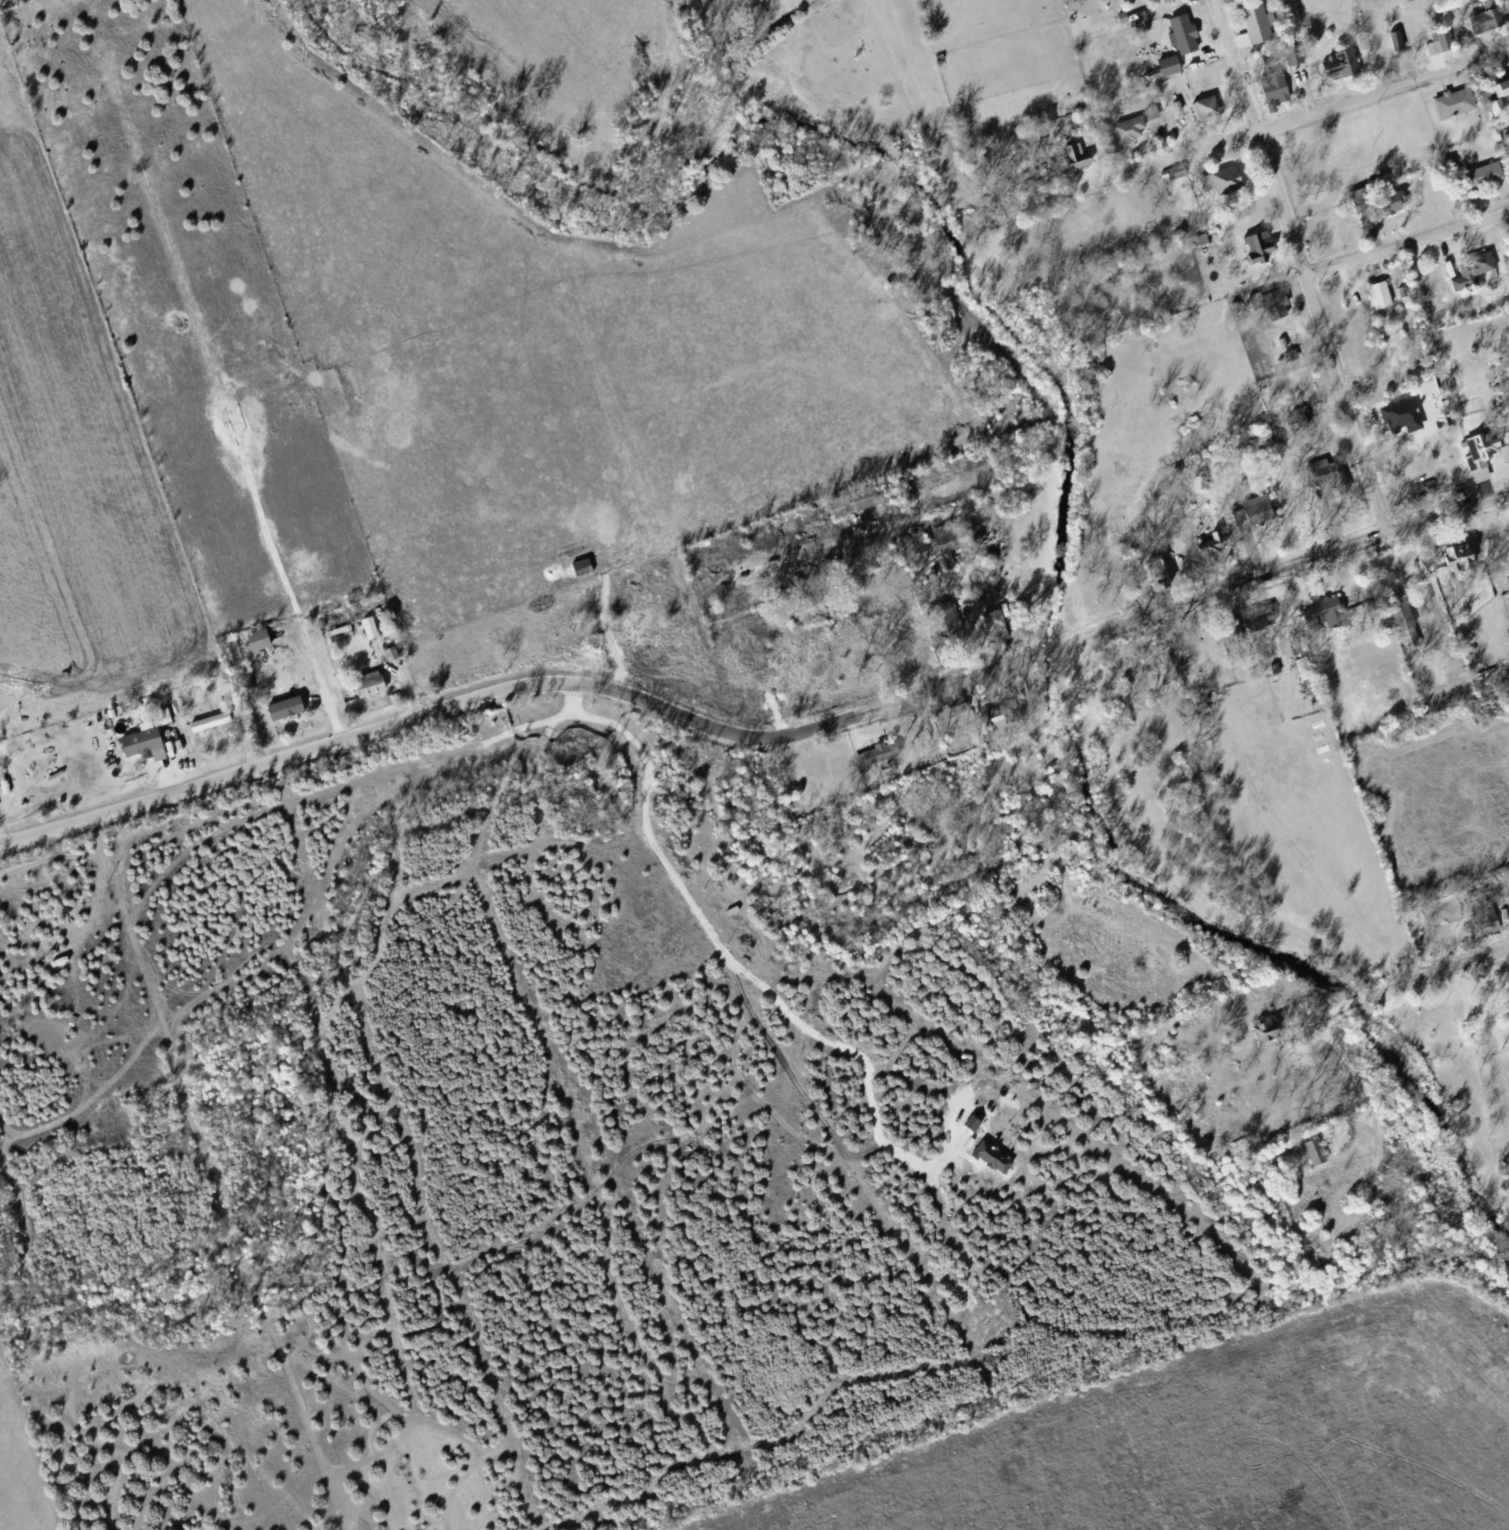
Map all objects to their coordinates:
building: (1165, 2)
building: (1490, 3)
building: (1117, 20)
building: (1481, 26)
building: (1250, 30)
building: (1178, 38)
building: (1440, 44)
building: (1295, 53)
building: (1171, 65)
building: (1337, 69)
building: (1163, 70)
building: (1504, 88)
building: (1268, 92)
building: (1448, 107)
building: (1499, 107)
building: (1153, 111)
building: (1170, 111)
building: (1200, 114)
road: (1298, 117)
building: (1124, 134)
building: (1079, 154)
building: (1070, 160)
building: (1476, 180)
building: (1166, 184)
building: (1218, 186)
building: (1371, 202)
building: (1508, 229)
road: (1406, 243)
building: (1508, 245)
building: (1253, 252)
road: (1300, 267)
building: (1466, 274)
building: (1374, 299)
building: (1272, 301)
building: (1263, 309)
building: (1285, 360)
building: (1299, 417)
building: (233, 421)
building: (1293, 425)
building: (1476, 458)
building: (1321, 479)
building: (1201, 483)
building: (849, 508)
building: (1248, 514)
building: (940, 546)
building: (1206, 551)
building: (1451, 558)
building: (1152, 585)
building: (1259, 616)
building: (1394, 617)
building: (1320, 619)
building: (1405, 622)
building: (940, 624)
building: (988, 624)
building: (791, 628)
building: (261, 638)
building: (253, 645)
building: (224, 647)
road: (1019, 658)
building: (388, 661)
building: (1304, 664)
building: (1296, 673)
building: (365, 691)
building: (1005, 710)
building: (280, 712)
building: (954, 714)
building: (202, 726)
building: (139, 748)
building: (868, 760)
road: (262, 762)
building: (1484, 922)
road: (1369, 998)
building: (1268, 1029)
building: (1260, 1036)
building: (975, 1121)
building: (995, 1156)
building: (1307, 1157)

